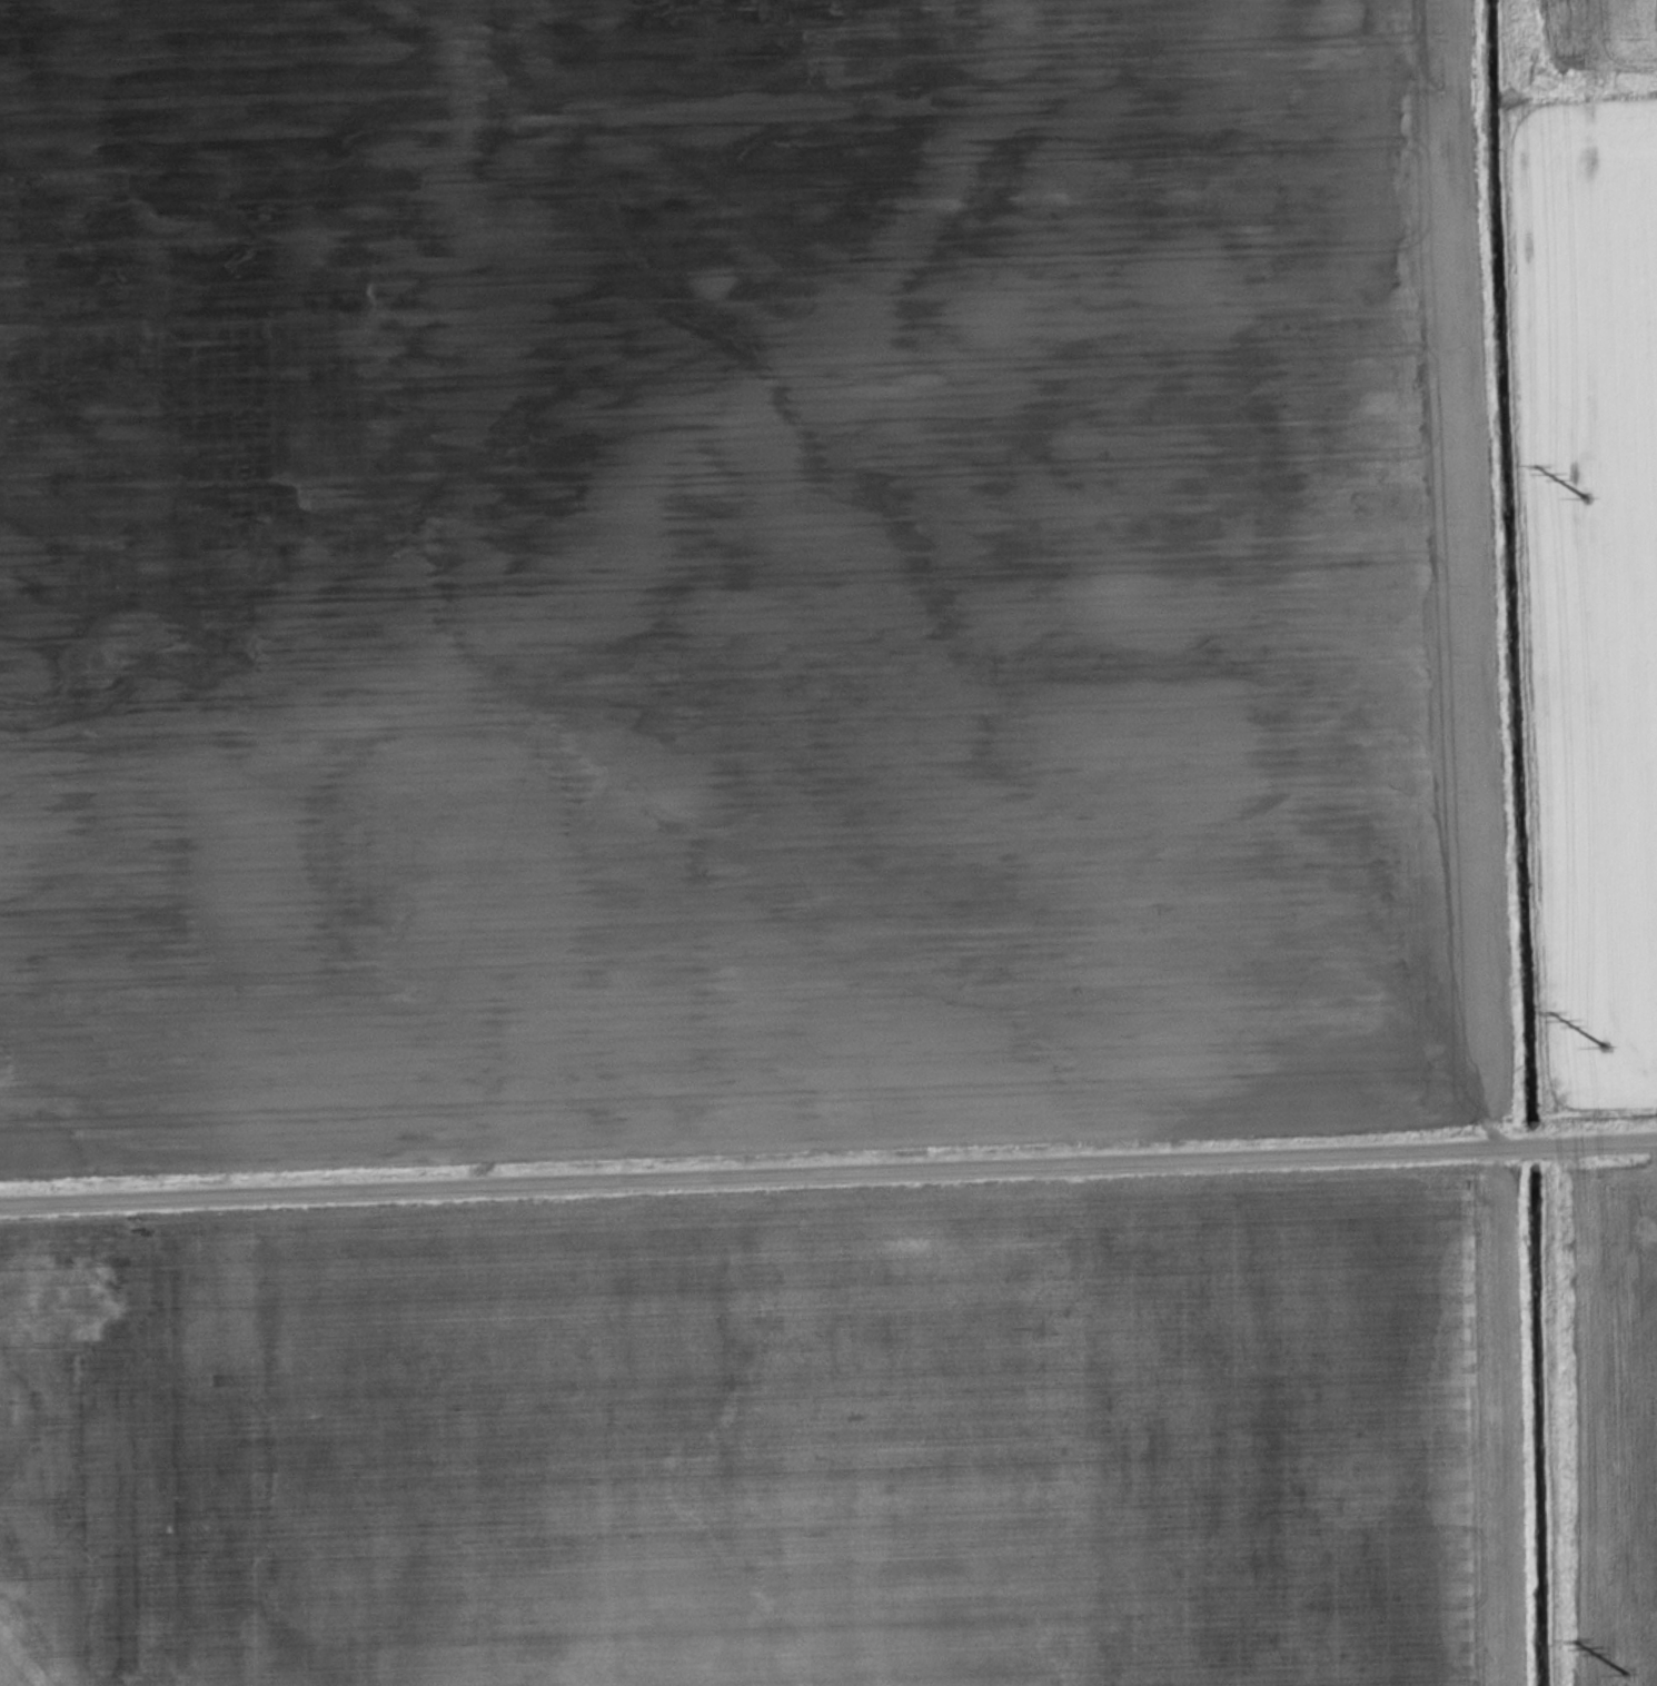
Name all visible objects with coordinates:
power tower: (1581, 488)
power tower: (1604, 1042)
road: (829, 1171)
power tower: (1624, 1666)

